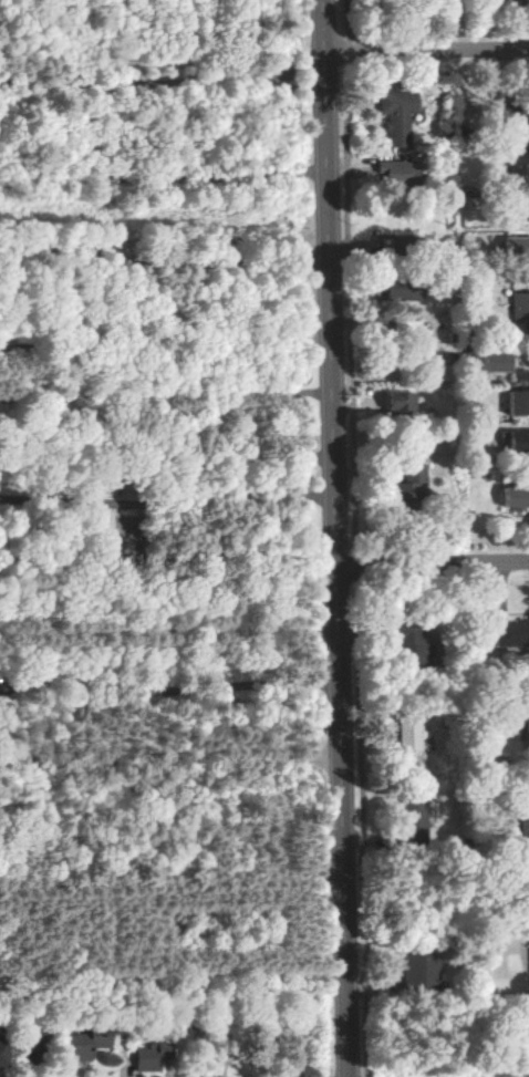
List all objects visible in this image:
road: (427, 52)
road: (163, 68)
building: (398, 115)
building: (520, 162)
building: (401, 169)
road: (164, 178)
building: (525, 207)
building: (398, 246)
building: (517, 248)
road: (165, 261)
building: (406, 292)
building: (520, 307)
building: (496, 361)
building: (402, 401)
building: (520, 402)
building: (519, 441)
building: (414, 478)
building: (517, 495)
road: (168, 508)
building: (123, 524)
road: (338, 538)
road: (355, 538)
road: (168, 557)
road: (434, 562)
building: (512, 634)
building: (409, 646)
building: (527, 724)
building: (409, 739)
road: (170, 762)
building: (525, 814)
building: (415, 819)
building: (421, 972)
building: (85, 1044)
building: (1, 1053)
building: (152, 1056)

